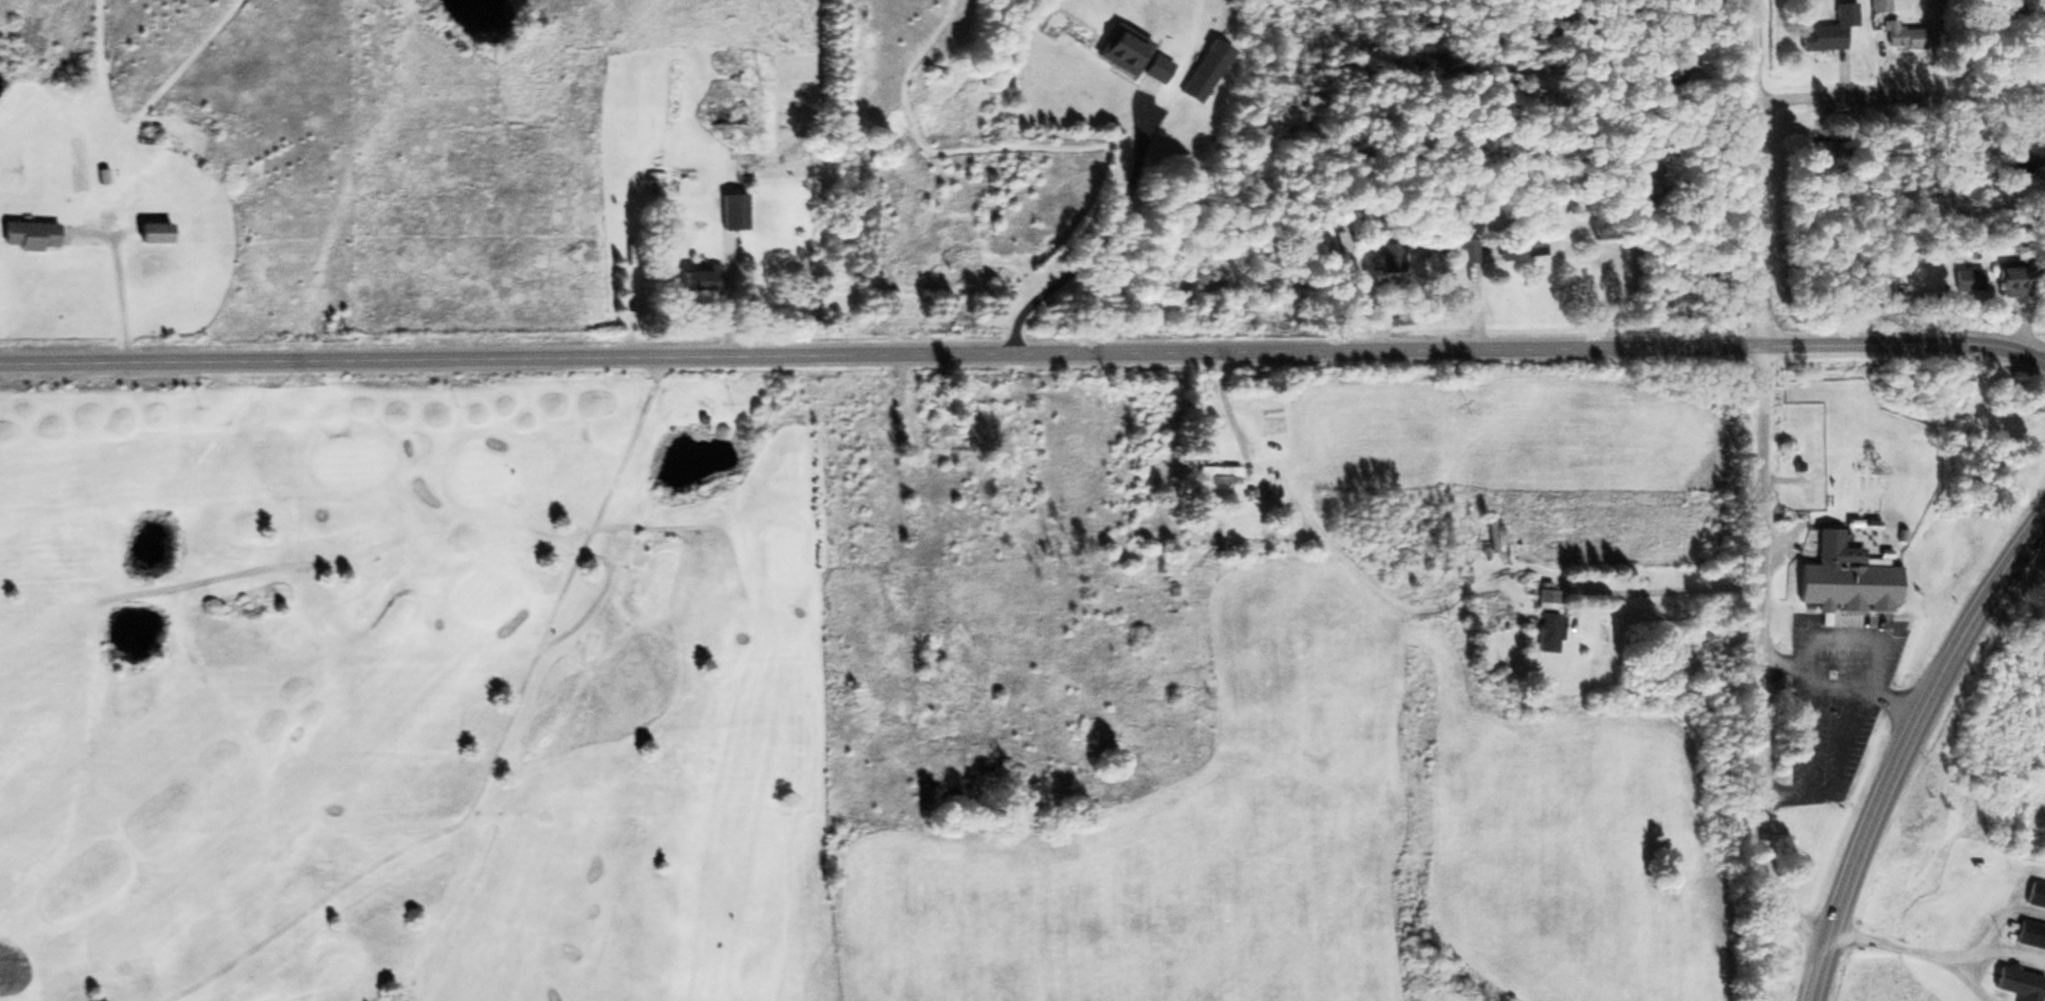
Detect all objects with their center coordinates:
building: (1883, 6)
building: (1833, 30)
building: (1908, 36)
building: (1128, 49)
building: (1163, 69)
building: (1207, 76)
road: (1901, 95)
building: (738, 212)
building: (160, 232)
building: (36, 234)
building: (1526, 248)
building: (1348, 251)
building: (1474, 254)
building: (1396, 256)
building: (708, 278)
building: (1982, 278)
road: (1023, 352)
building: (973, 443)
building: (1224, 470)
road: (1762, 484)
building: (1496, 534)
building: (1852, 578)
building: (1553, 621)
park: (413, 689)
road: (1917, 723)
building: (2037, 894)
building: (2032, 935)
road: (1815, 975)
building: (2024, 984)

